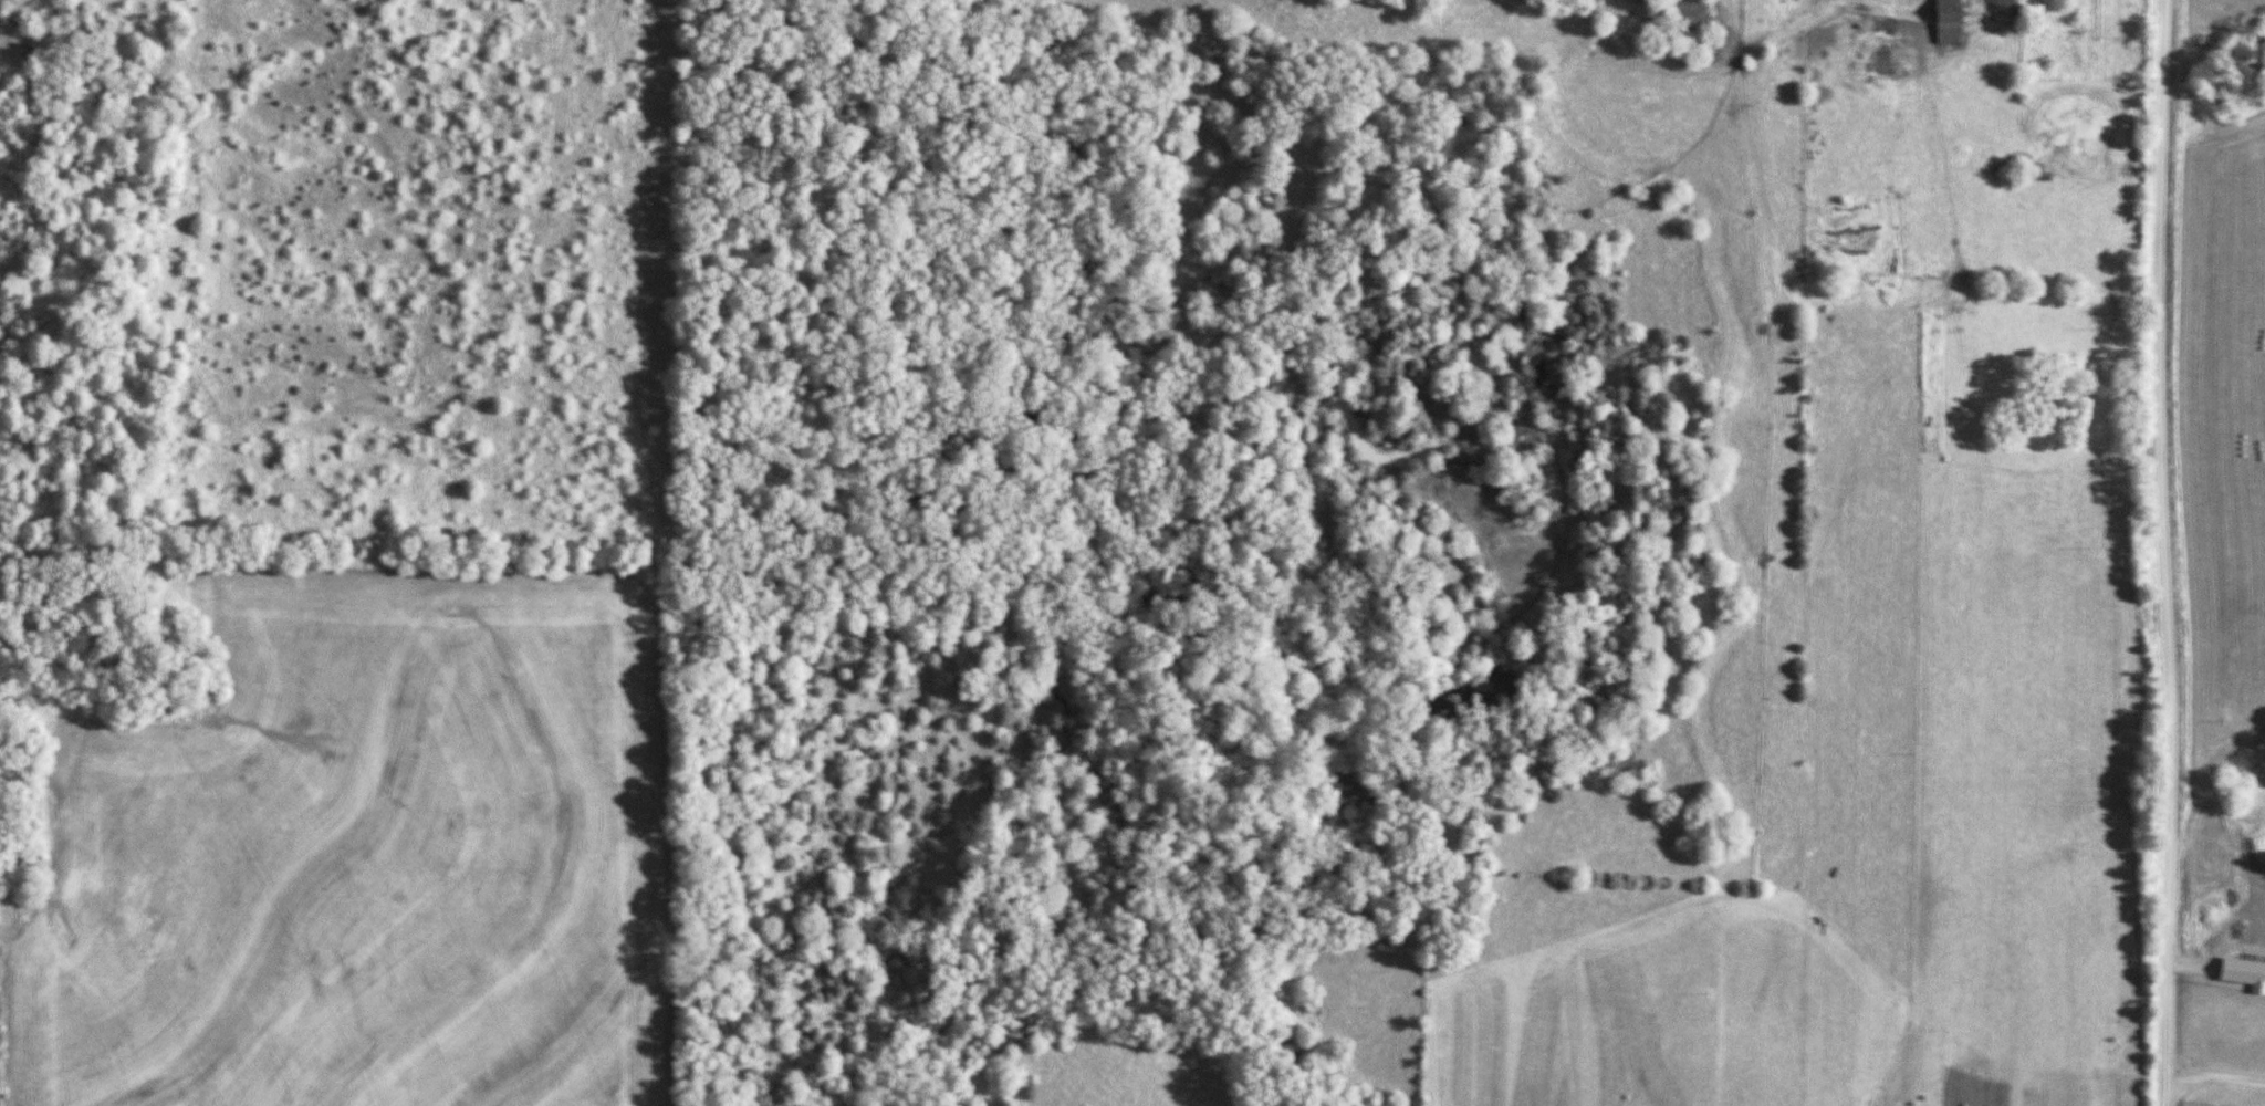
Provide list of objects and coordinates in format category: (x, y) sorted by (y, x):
building: (1950, 21)
road: (2168, 552)
road: (2215, 1089)

